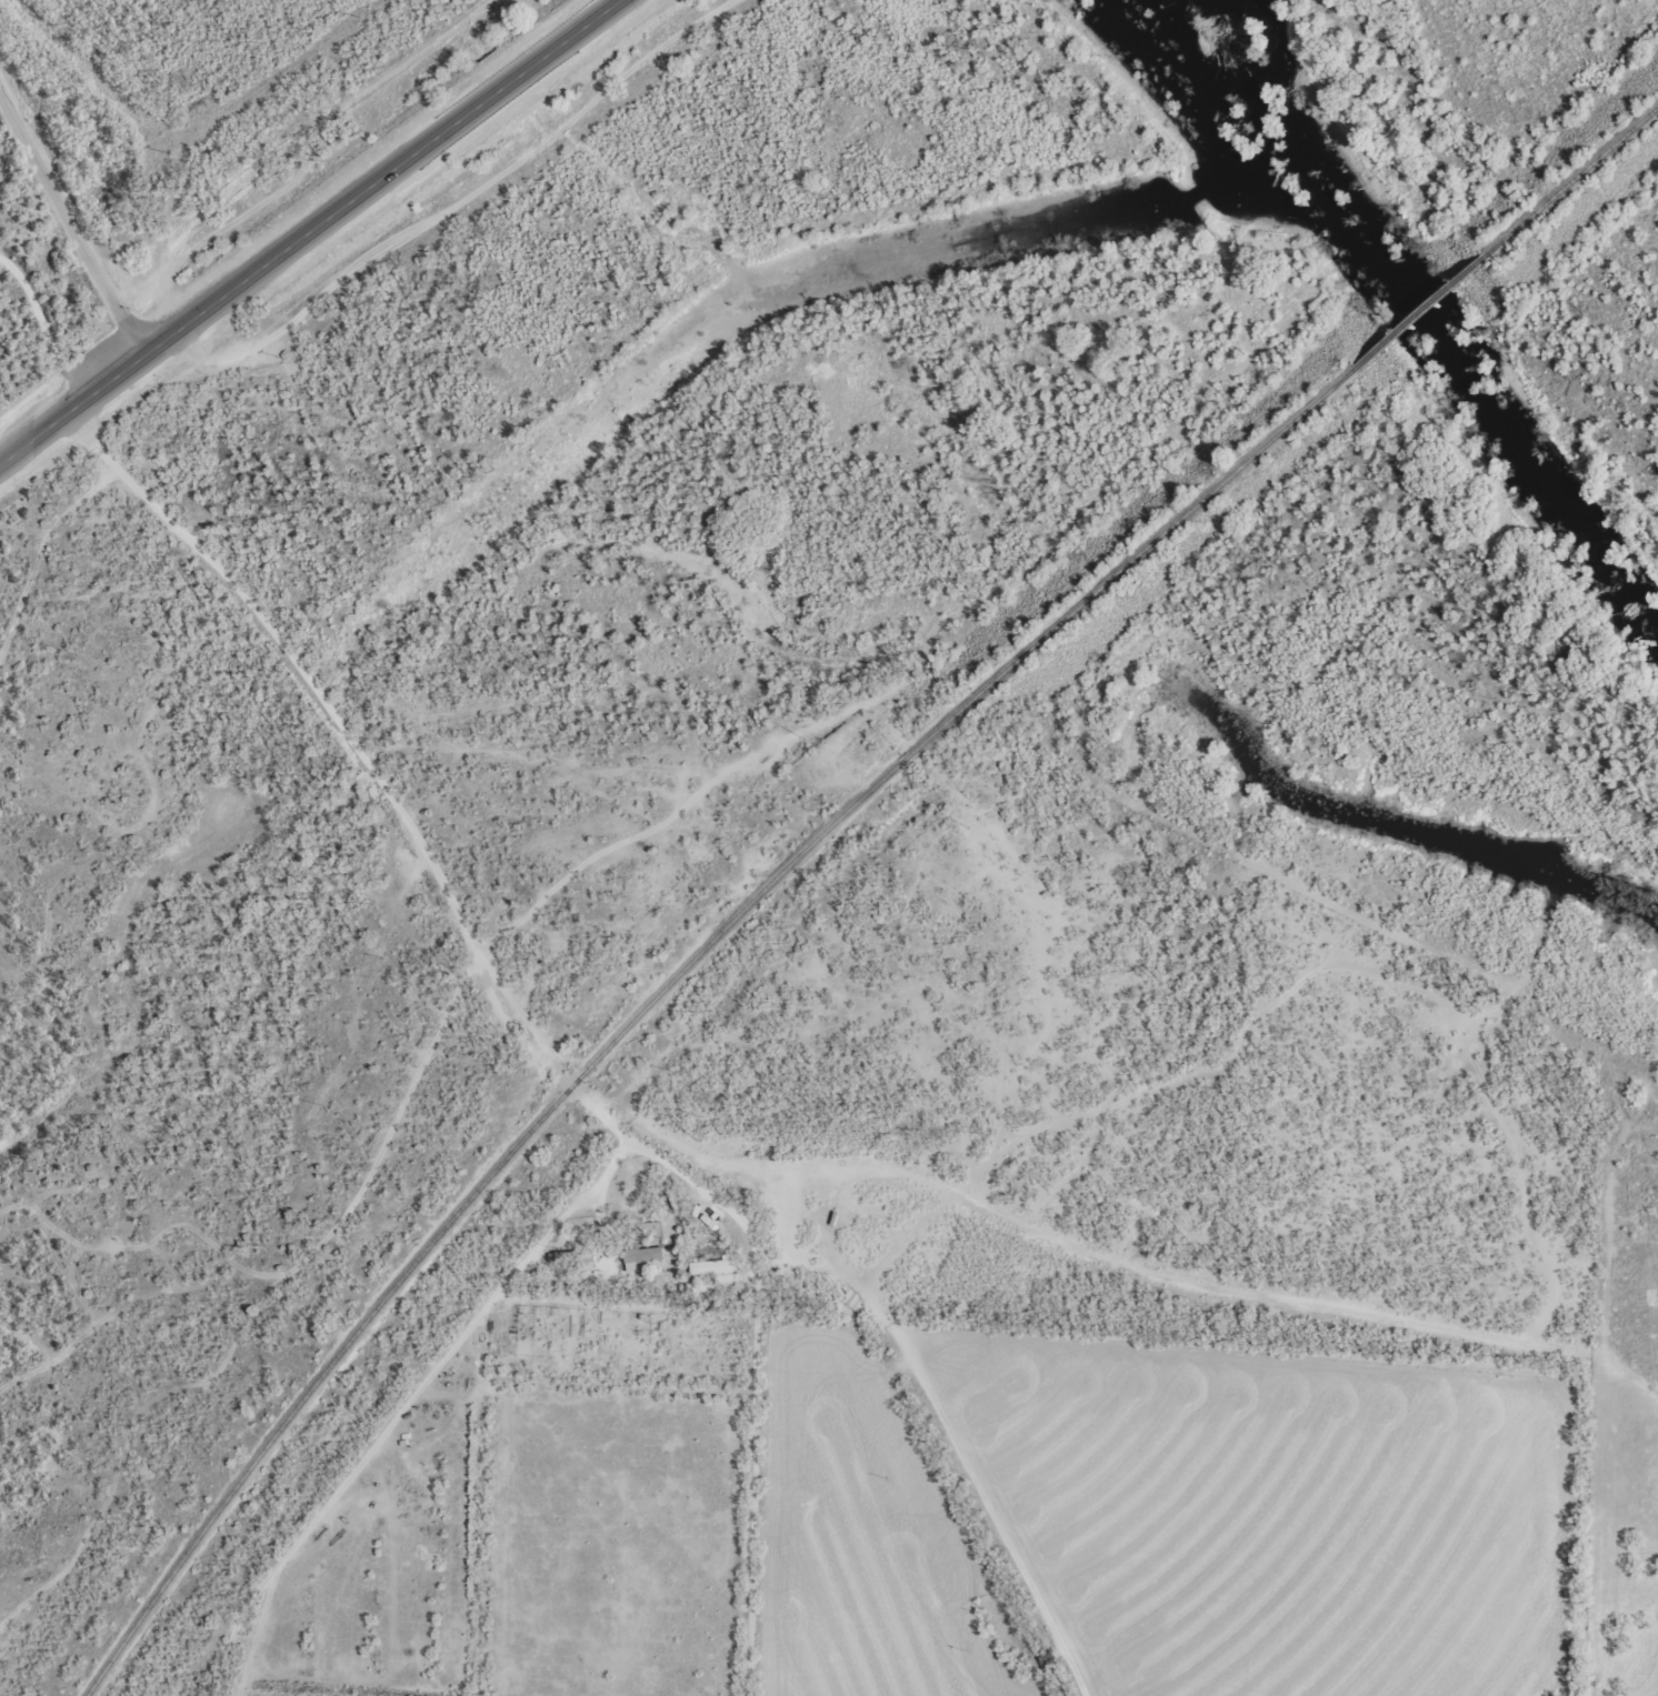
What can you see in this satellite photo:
railway: (1572, 179)
road: (326, 242)
road: (72, 264)
river: (1408, 307)
railway: (1420, 310)
road: (369, 770)
railway: (669, 986)
building: (640, 1257)
road: (1119, 1261)
building: (715, 1271)
road: (823, 1282)
road: (400, 1407)
road: (1606, 1525)

